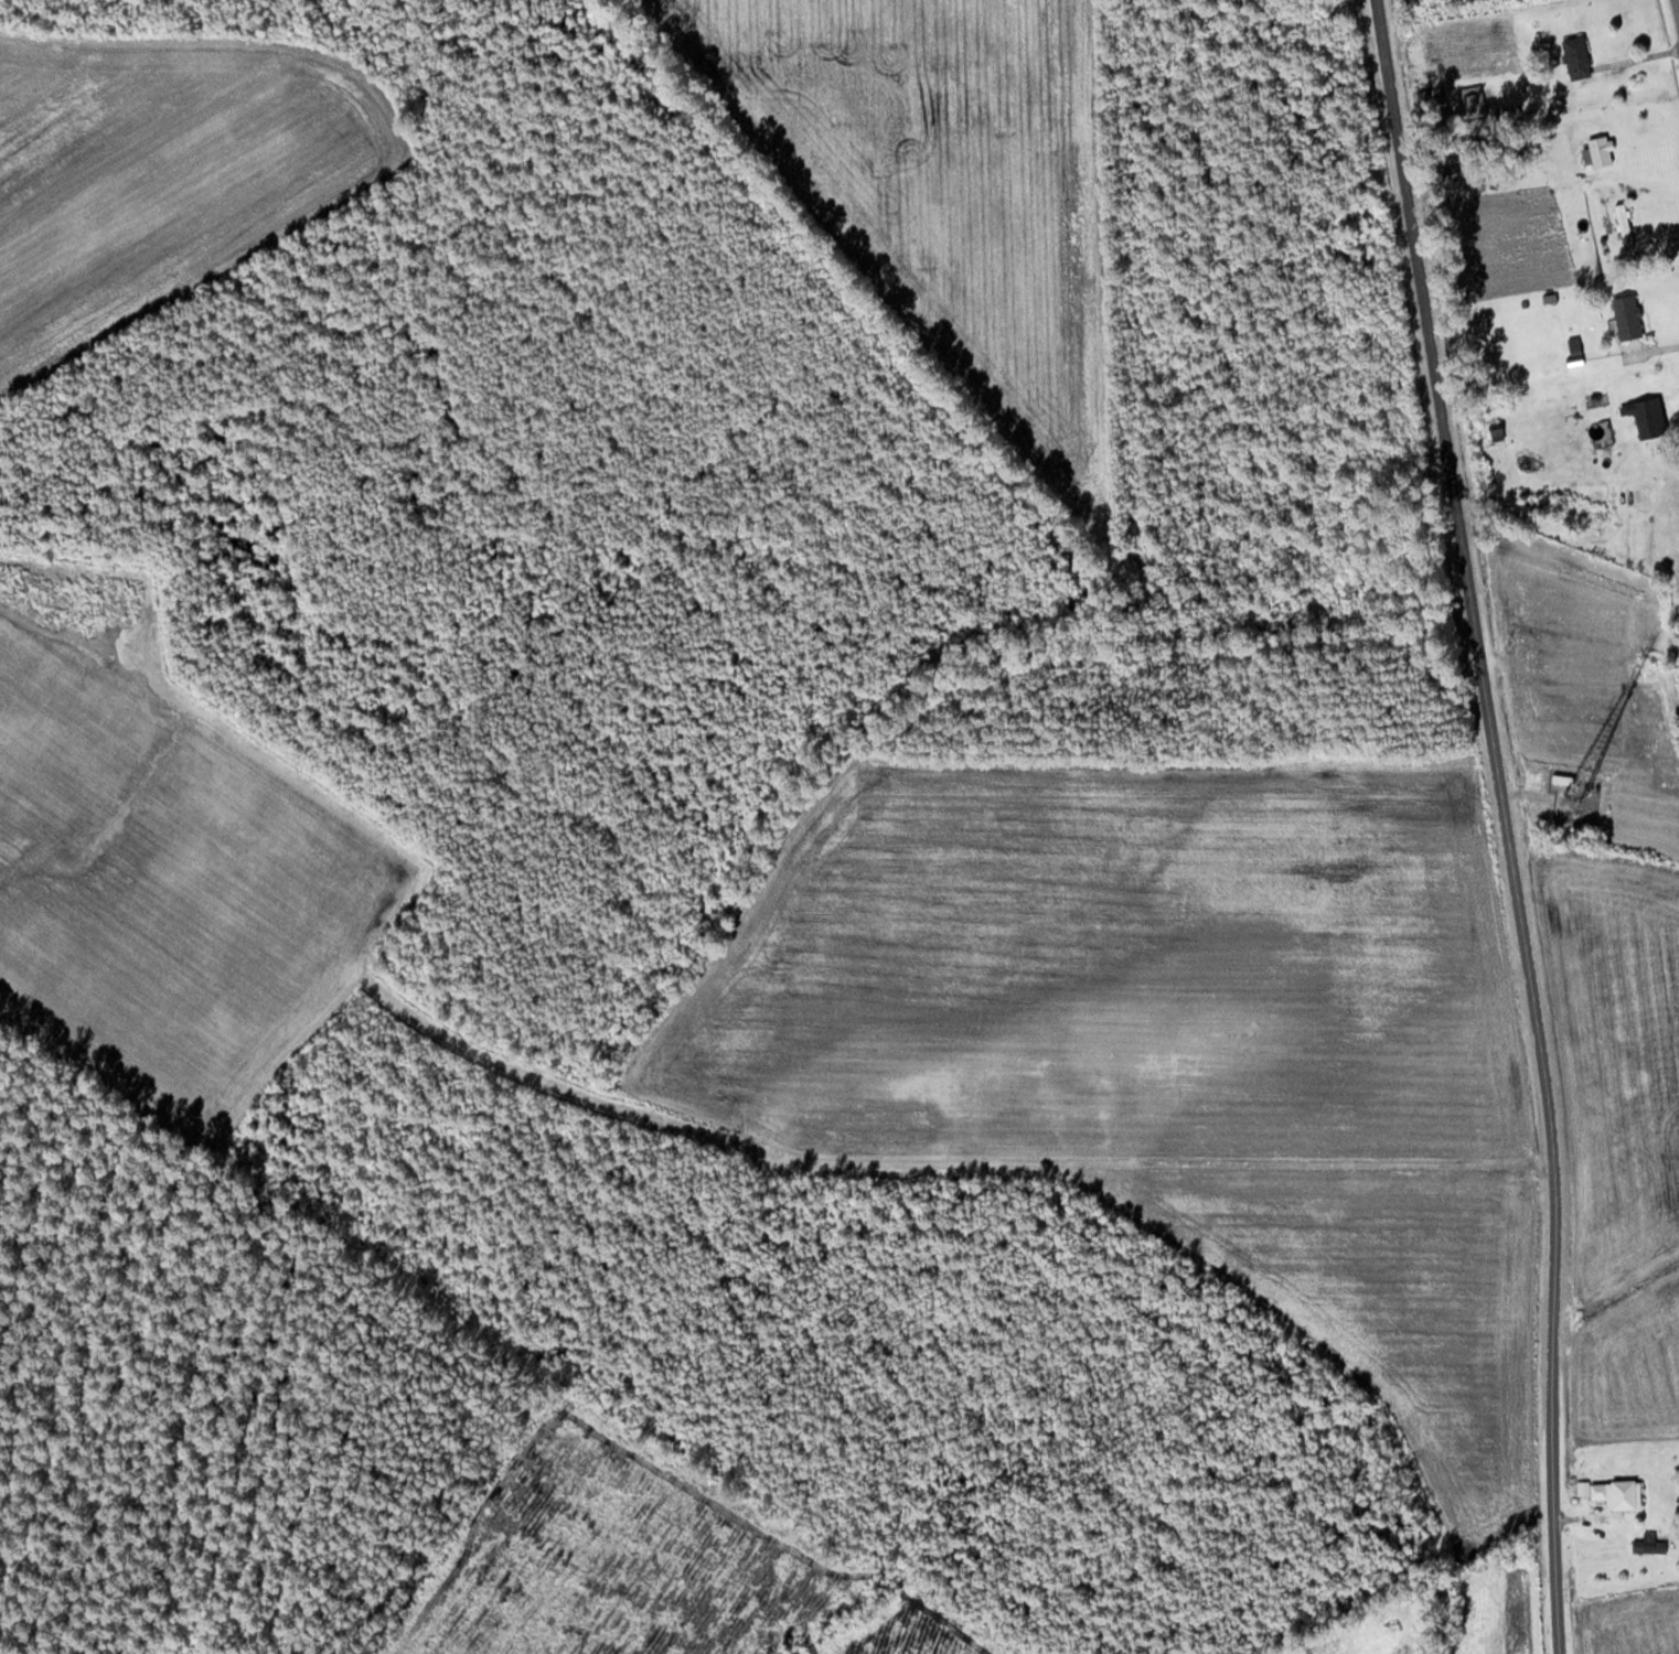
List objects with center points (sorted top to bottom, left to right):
building: (1578, 56)
building: (1432, 97)
building: (1475, 98)
building: (1602, 150)
building: (1625, 224)
building: (1628, 315)
building: (1650, 417)
road: (1510, 824)
building: (1618, 1493)
building: (1654, 1543)

